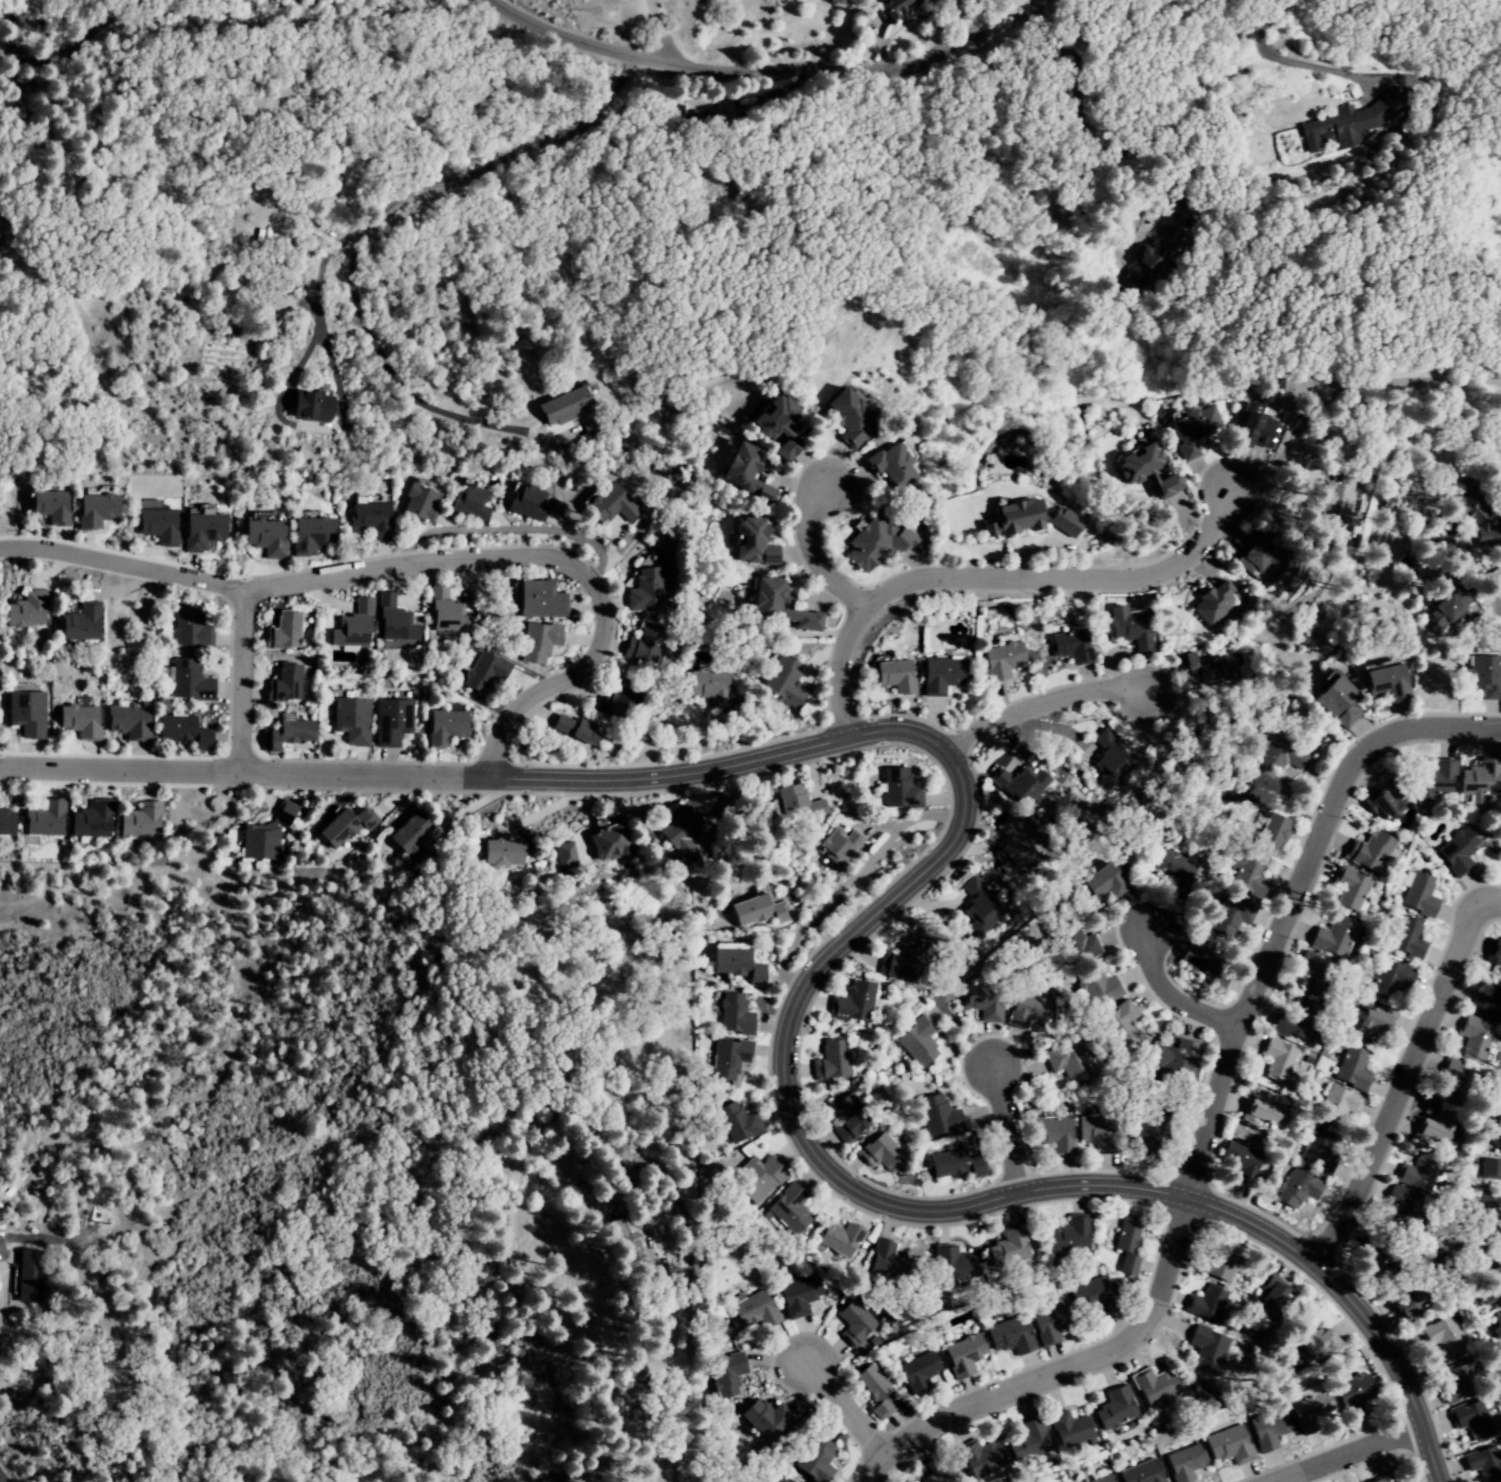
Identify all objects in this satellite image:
building: (895, 6)
road: (76, 43)
road: (769, 66)
building: (1348, 123)
road: (365, 219)
building: (4, 231)
building: (1152, 257)
building: (309, 405)
building: (568, 408)
building: (846, 415)
building: (774, 424)
building: (1190, 428)
building: (1250, 429)
building: (1136, 463)
building: (889, 466)
building: (743, 472)
building: (1166, 485)
building: (1334, 498)
building: (526, 501)
building: (469, 502)
building: (418, 503)
building: (608, 505)
building: (48, 506)
building: (93, 510)
building: (1473, 516)
building: (369, 518)
building: (1009, 519)
building: (1061, 522)
building: (155, 525)
building: (200, 531)
building: (309, 533)
building: (263, 536)
building: (750, 542)
building: (874, 543)
road: (811, 555)
building: (1252, 559)
road: (421, 561)
road: (994, 577)
building: (644, 589)
building: (538, 599)
building: (1213, 602)
building: (776, 606)
building: (24, 609)
building: (445, 613)
building: (1440, 613)
building: (393, 621)
building: (78, 623)
building: (352, 626)
building: (188, 628)
building: (1130, 629)
building: (282, 631)
building: (537, 641)
building: (643, 644)
building: (1070, 645)
building: (1000, 660)
building: (1206, 666)
building: (482, 672)
building: (939, 674)
building: (893, 675)
building: (1483, 675)
road: (239, 677)
building: (187, 680)
building: (782, 681)
building: (1385, 682)
building: (283, 684)
building: (708, 687)
building: (619, 701)
building: (1336, 701)
road: (1035, 704)
building: (25, 713)
building: (350, 720)
building: (78, 721)
building: (130, 721)
building: (390, 721)
building: (443, 726)
building: (574, 728)
building: (182, 731)
building: (286, 734)
building: (1275, 756)
building: (1105, 769)
road: (247, 771)
building: (1433, 780)
building: (1478, 781)
building: (1021, 784)
building: (897, 789)
building: (1385, 804)
building: (796, 805)
building: (283, 812)
building: (43, 819)
building: (90, 820)
building: (139, 821)
building: (5, 822)
building: (343, 826)
building: (678, 832)
building: (1269, 832)
building: (409, 838)
building: (258, 842)
building: (608, 844)
building: (837, 844)
building: (1011, 849)
building: (1368, 851)
building: (1455, 851)
building: (499, 852)
building: (562, 854)
building: (1500, 857)
building: (1171, 869)
building: (1246, 875)
building: (1101, 882)
building: (974, 884)
building: (1348, 887)
building: (1417, 895)
road: (1286, 901)
building: (980, 909)
building: (757, 910)
building: (1230, 914)
building: (1333, 936)
building: (1406, 938)
building: (1080, 945)
building: (1495, 949)
building: (902, 960)
building: (1204, 963)
building: (734, 964)
building: (1311, 974)
building: (1389, 978)
building: (1096, 986)
road: (1167, 995)
building: (982, 1001)
building: (1487, 1001)
building: (852, 1002)
building: (1026, 1010)
building: (733, 1014)
building: (1294, 1020)
building: (1372, 1021)
building: (1120, 1024)
building: (1473, 1037)
building: (916, 1040)
building: (726, 1058)
building: (1276, 1058)
building: (830, 1060)
building: (1067, 1061)
building: (1172, 1065)
building: (1351, 1069)
road: (1402, 1077)
building: (1456, 1078)
road: (781, 1085)
building: (1331, 1106)
building: (1260, 1109)
building: (937, 1115)
building: (848, 1117)
building: (1498, 1119)
building: (735, 1122)
building: (1432, 1128)
road: (1001, 1131)
building: (1097, 1132)
building: (1051, 1133)
building: (1147, 1133)
building: (1497, 1144)
building: (880, 1153)
building: (1316, 1153)
building: (1239, 1161)
building: (954, 1164)
building: (1490, 1169)
building: (1418, 1172)
building: (754, 1179)
building: (1295, 1188)
building: (1500, 1199)
building: (1481, 1203)
building: (1500, 1207)
building: (1402, 1209)
building: (787, 1210)
building: (1484, 1230)
building: (1068, 1236)
building: (839, 1239)
building: (1126, 1244)
building: (1006, 1248)
building: (1374, 1259)
building: (1486, 1259)
building: (1217, 1260)
building: (887, 1261)
building: (951, 1264)
building: (27, 1274)
building: (1489, 1290)
building: (798, 1296)
building: (1091, 1296)
building: (1407, 1302)
building: (1275, 1303)
building: (1205, 1304)
building: (752, 1310)
building: (853, 1323)
building: (1047, 1324)
building: (1496, 1325)
building: (1008, 1335)
building: (1442, 1335)
building: (1315, 1345)
building: (1203, 1346)
building: (1500, 1348)
building: (962, 1355)
road: (1057, 1370)
building: (917, 1371)
building: (725, 1375)
building: (1456, 1384)
building: (1154, 1386)
building: (874, 1390)
building: (1350, 1393)
building: (1114, 1408)
road: (842, 1410)
building: (1306, 1415)
building: (763, 1419)
building: (1470, 1419)
building: (1069, 1429)
building: (1267, 1429)
building: (1030, 1441)
building: (1227, 1446)
road: (1338, 1453)
building: (980, 1458)
building: (813, 1459)
building: (1183, 1463)
building: (1482, 1463)
building: (938, 1470)
building: (1140, 1472)
building: (1102, 1479)
building: (784, 1480)
building: (1376, 1480)
road: (0, 1481)
building: (1399, 1481)

